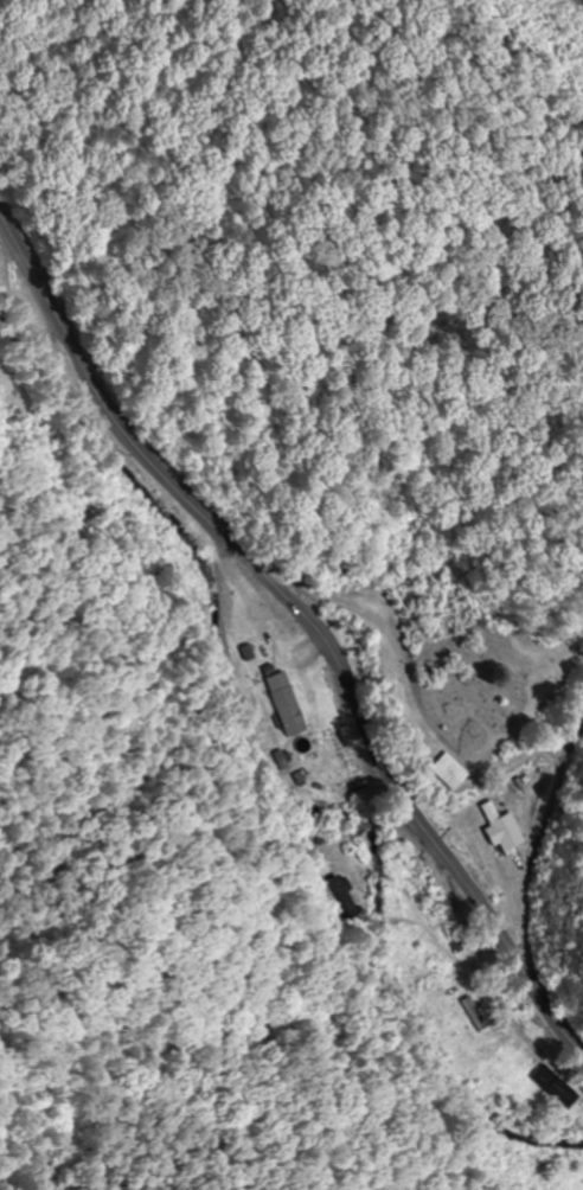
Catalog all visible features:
road: (306, 616)
building: (402, 695)
building: (284, 702)
building: (442, 770)
building: (501, 830)
building: (338, 891)
building: (473, 1012)
building: (552, 1086)

